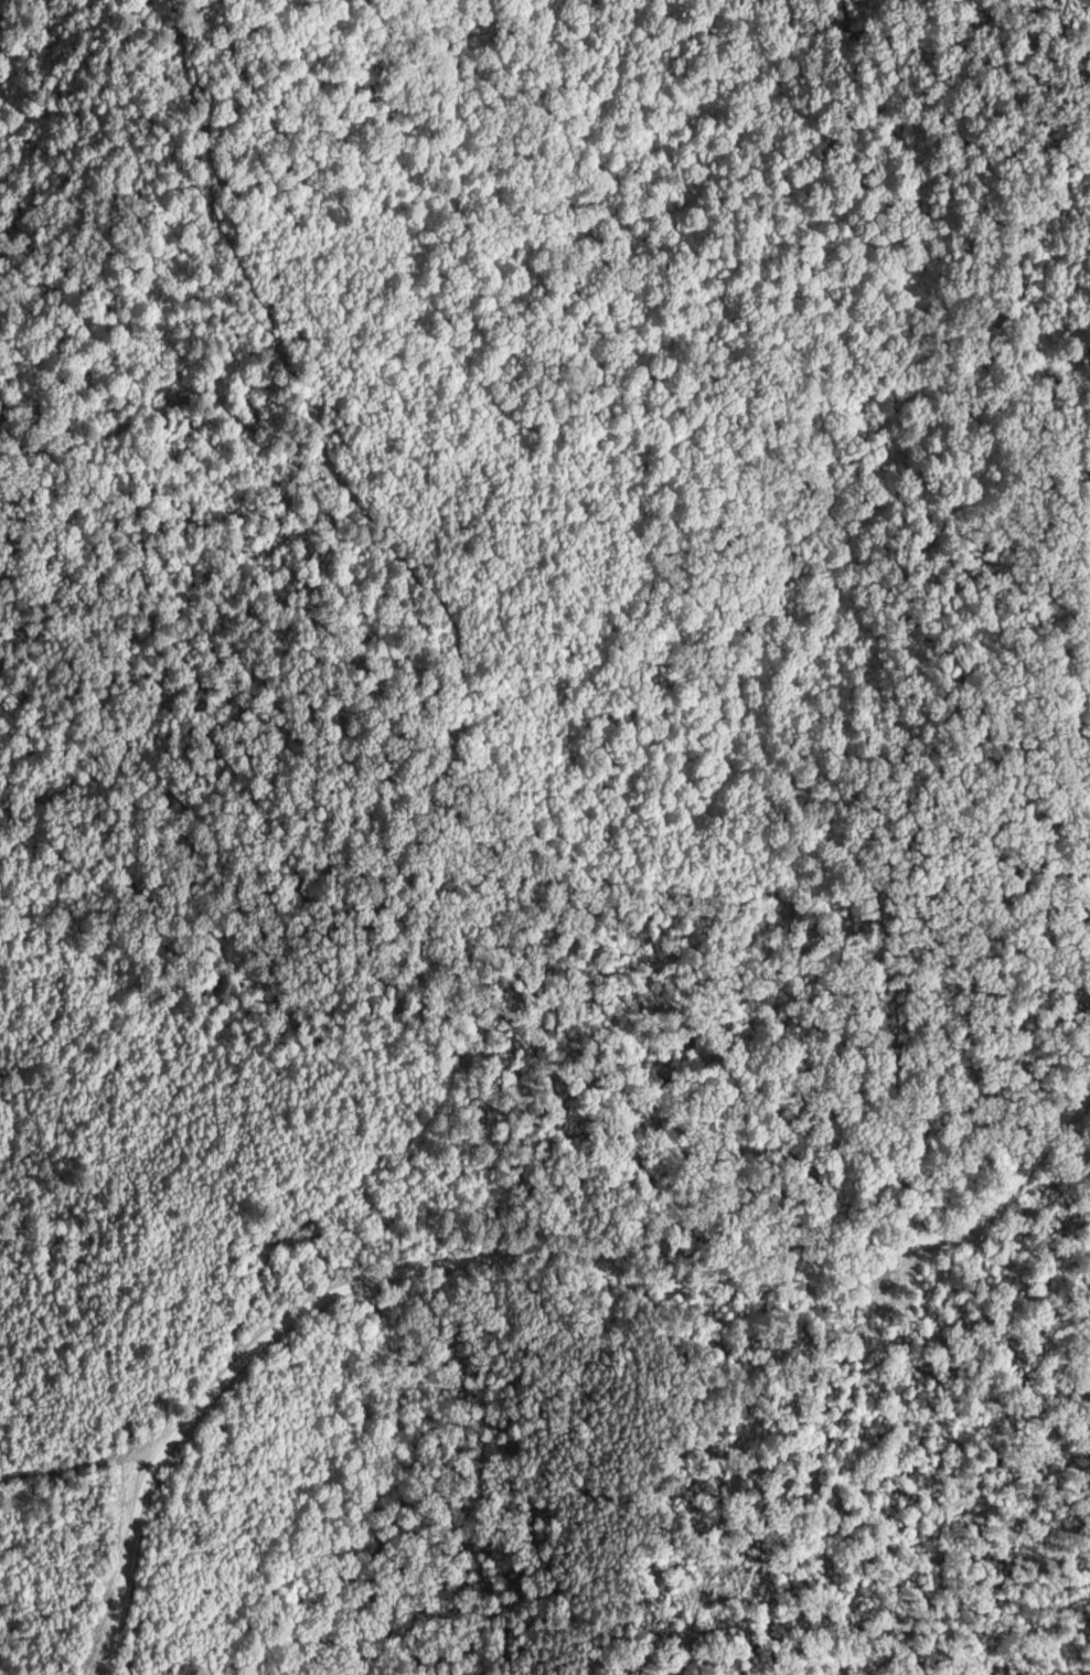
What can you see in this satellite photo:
road: (544, 1272)

